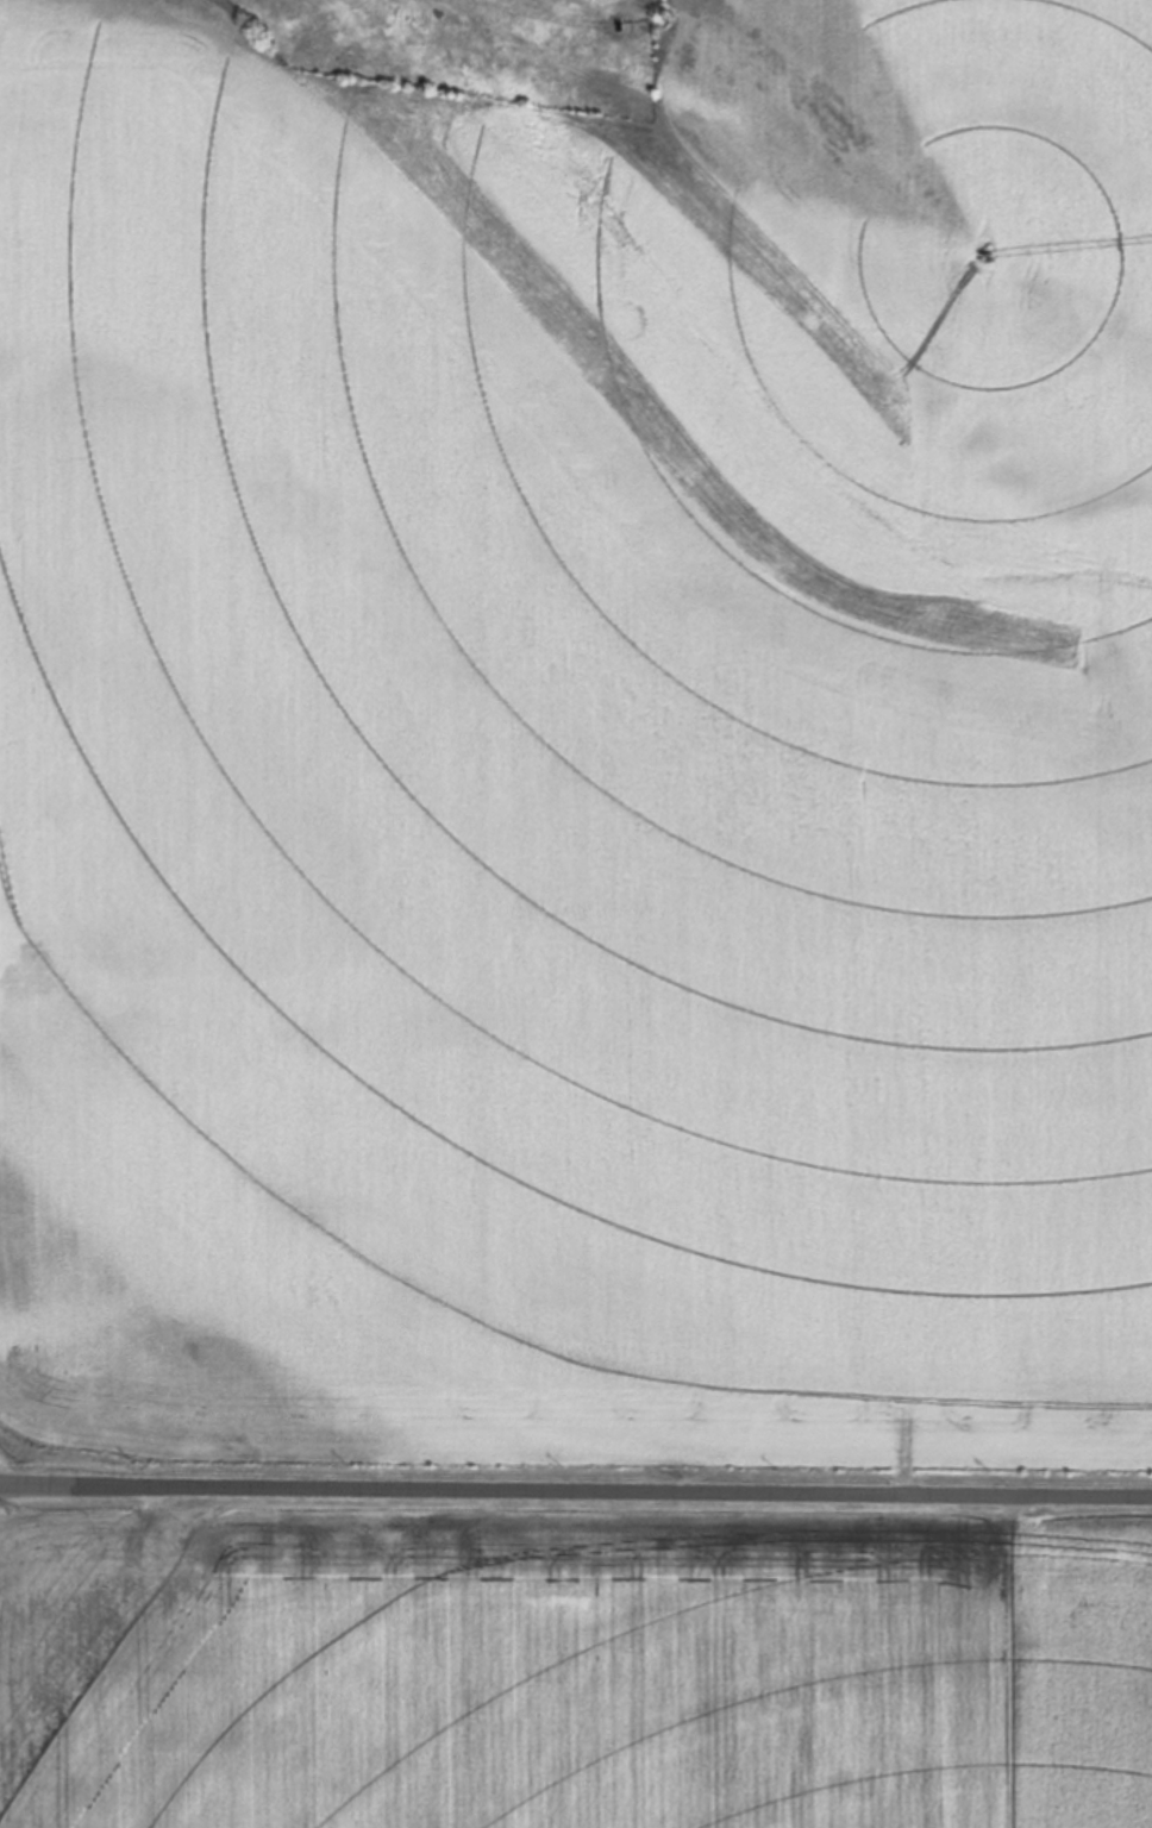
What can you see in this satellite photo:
road: (576, 1498)

